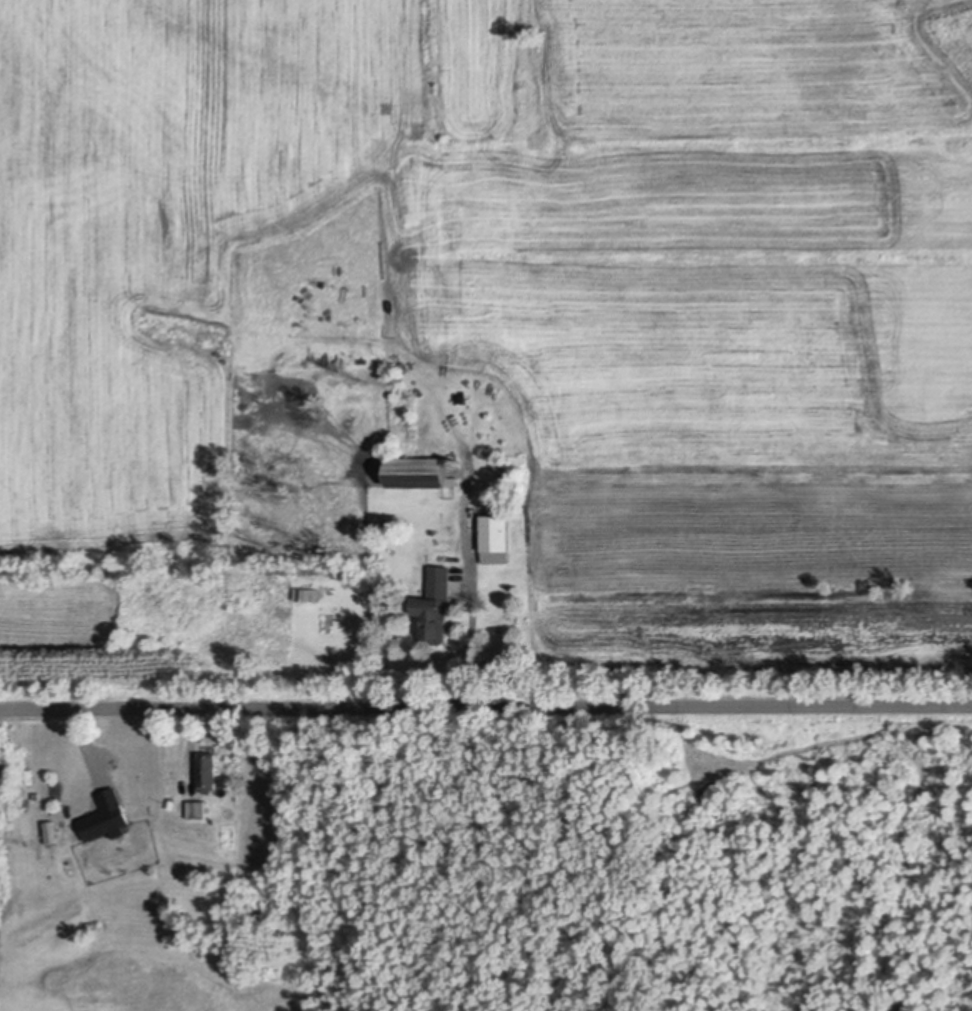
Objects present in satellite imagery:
building: (418, 470)
building: (494, 536)
building: (308, 592)
building: (434, 604)
road: (471, 646)
building: (672, 702)
road: (485, 705)
road: (85, 737)
road: (190, 741)
building: (205, 767)
building: (195, 806)
building: (104, 812)

